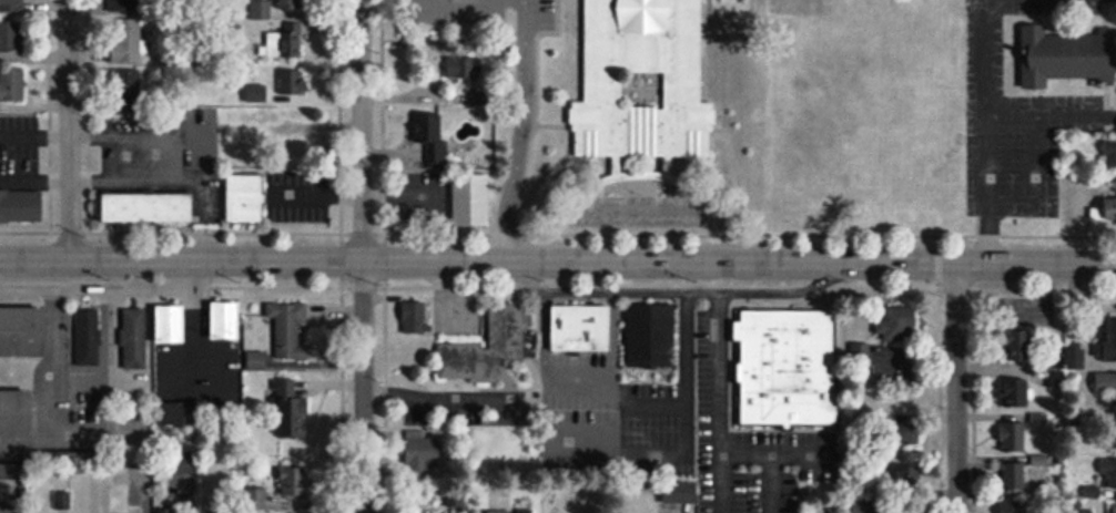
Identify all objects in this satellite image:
building: (128, 4)
building: (291, 4)
building: (12, 6)
building: (261, 10)
building: (11, 38)
building: (125, 40)
building: (286, 42)
building: (1066, 58)
building: (465, 68)
building: (639, 81)
building: (12, 83)
building: (298, 84)
road: (65, 129)
road: (520, 131)
building: (434, 138)
building: (1110, 151)
road: (639, 183)
building: (245, 197)
building: (470, 199)
building: (21, 205)
building: (1110, 205)
building: (150, 206)
road: (638, 206)
road: (361, 256)
road: (557, 261)
road: (112, 286)
road: (673, 293)
building: (415, 317)
building: (226, 320)
building: (172, 322)
building: (582, 328)
building: (894, 330)
building: (23, 331)
building: (290, 331)
road: (109, 336)
building: (651, 336)
building: (88, 337)
building: (134, 339)
building: (1109, 339)
road: (199, 343)
building: (1022, 346)
building: (487, 348)
building: (1075, 356)
building: (788, 368)
building: (1106, 382)
road: (51, 387)
road: (956, 388)
building: (1017, 393)
road: (627, 402)
road: (721, 402)
building: (292, 411)
building: (18, 413)
road: (94, 433)
building: (910, 433)
building: (1013, 437)
building: (424, 453)
road: (773, 458)
building: (13, 470)
building: (1109, 472)
building: (909, 473)
building: (1015, 476)
building: (295, 481)
building: (676, 496)
road: (6, 502)
building: (1013, 506)
building: (1114, 509)

